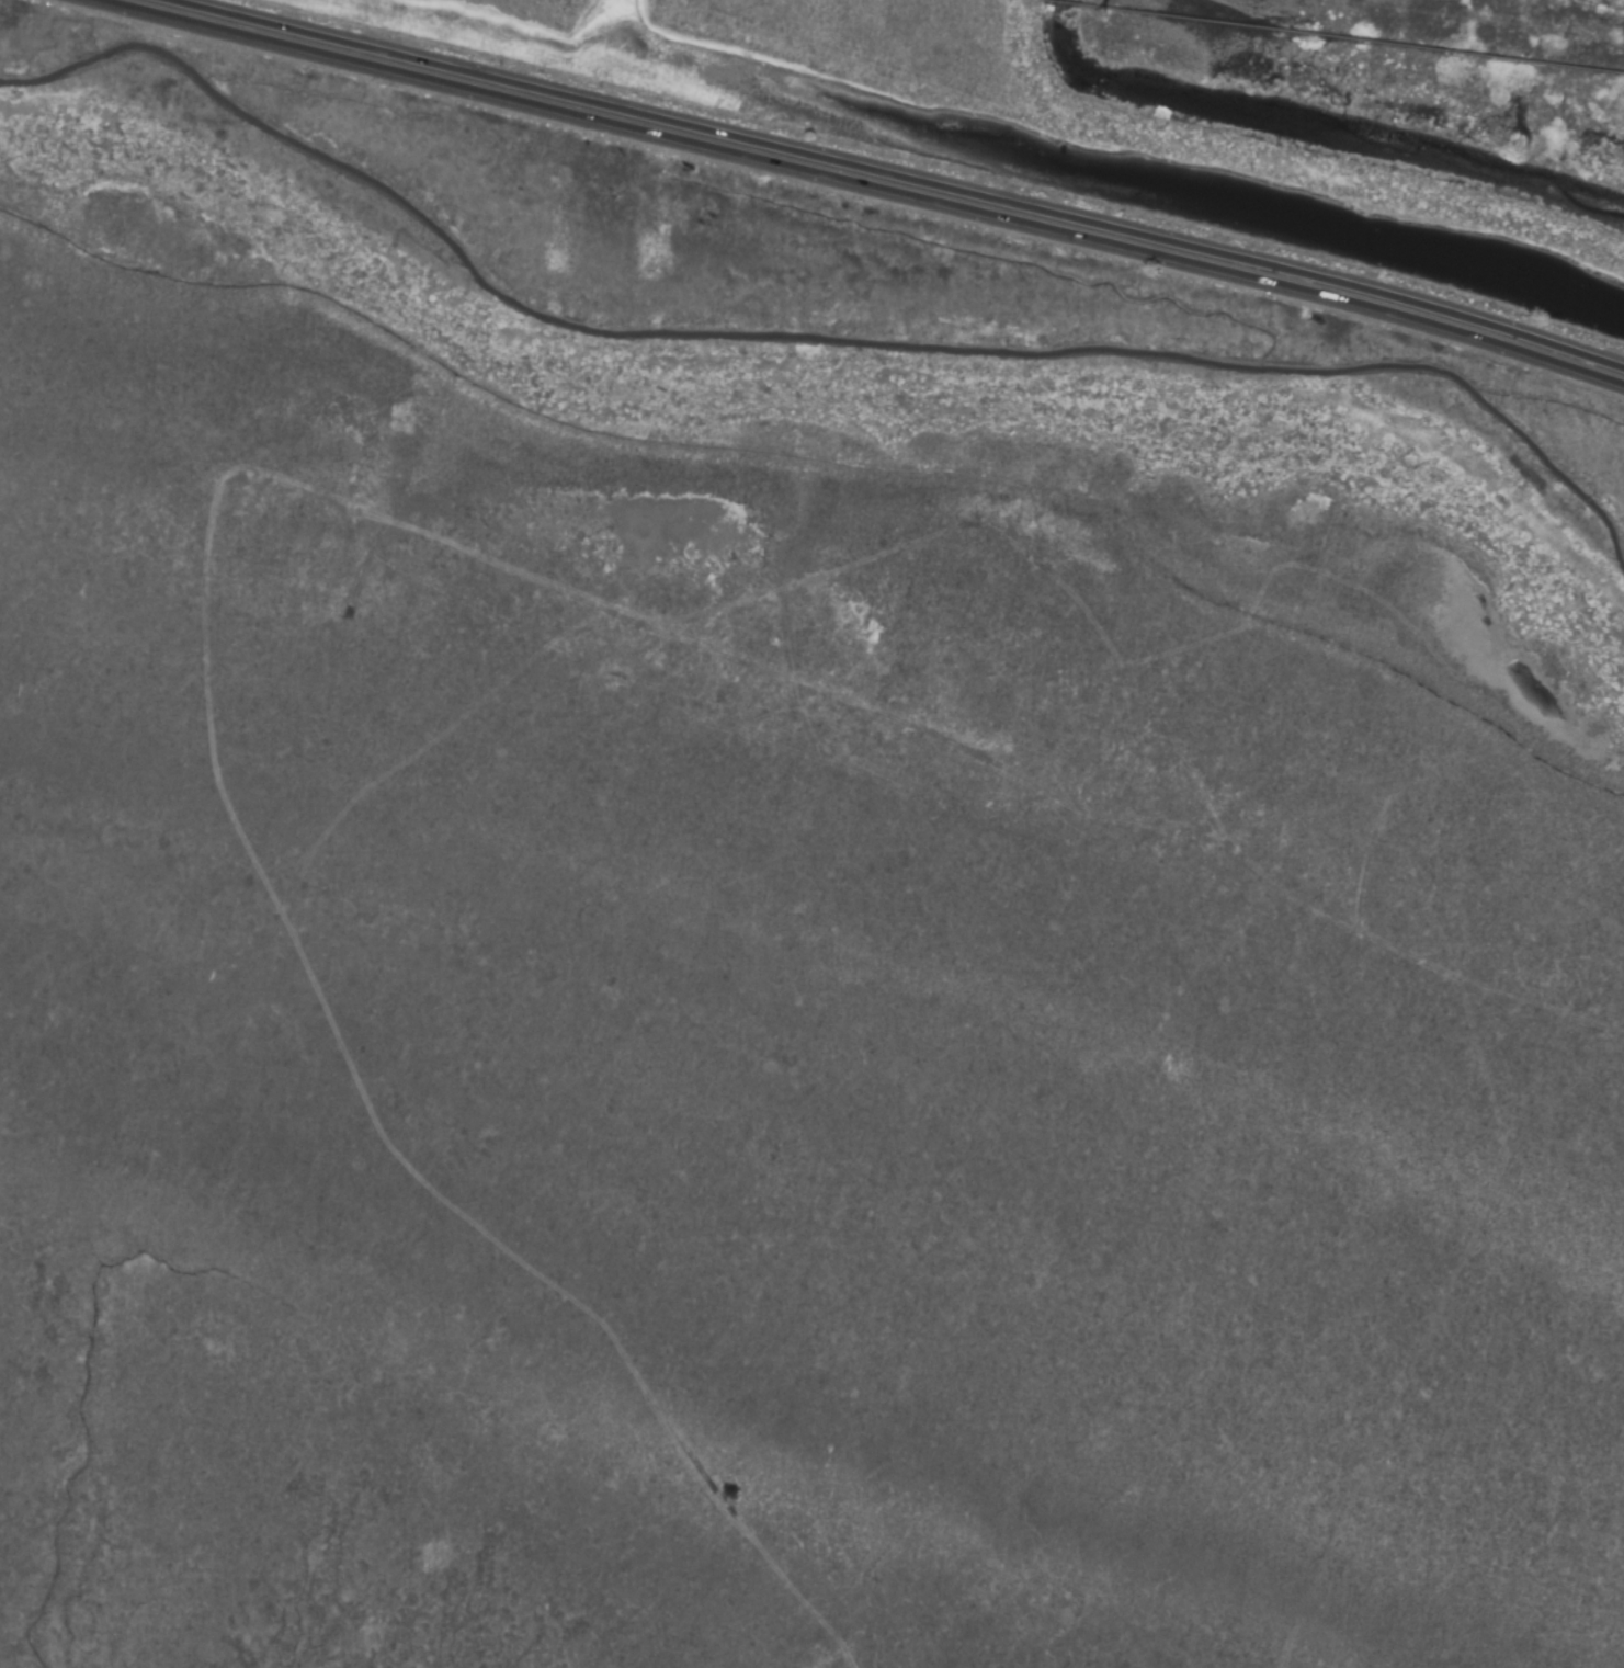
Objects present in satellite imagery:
power tower: (1105, 20)
road: (886, 180)
road: (851, 188)

